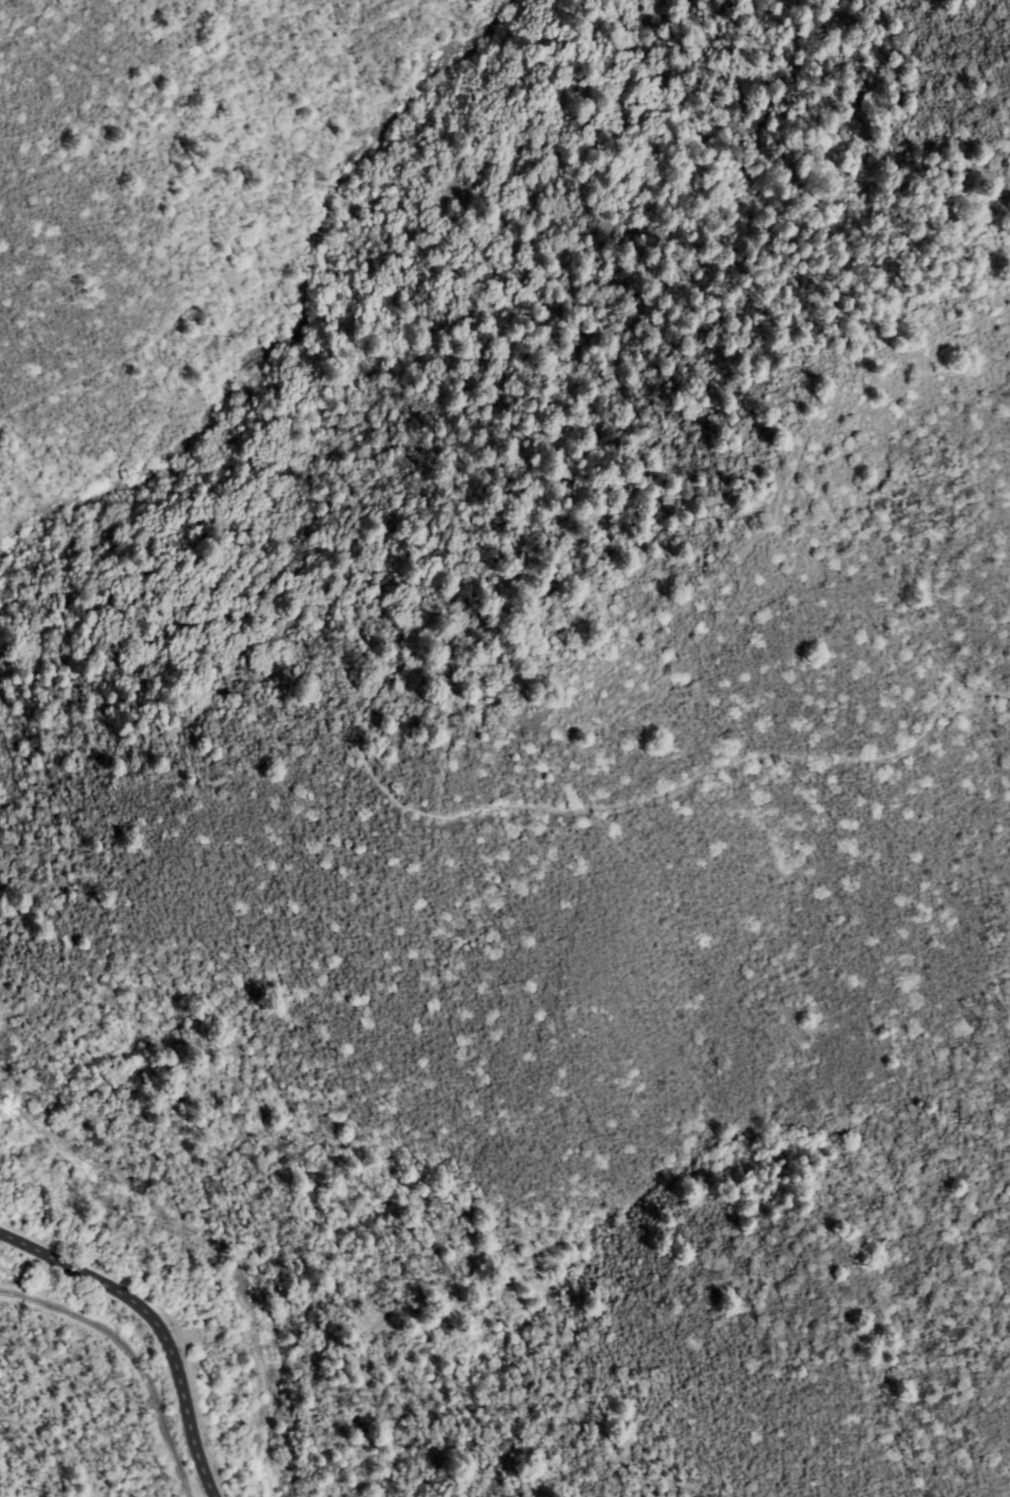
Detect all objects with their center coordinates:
road: (155, 1326)
road: (132, 1356)

